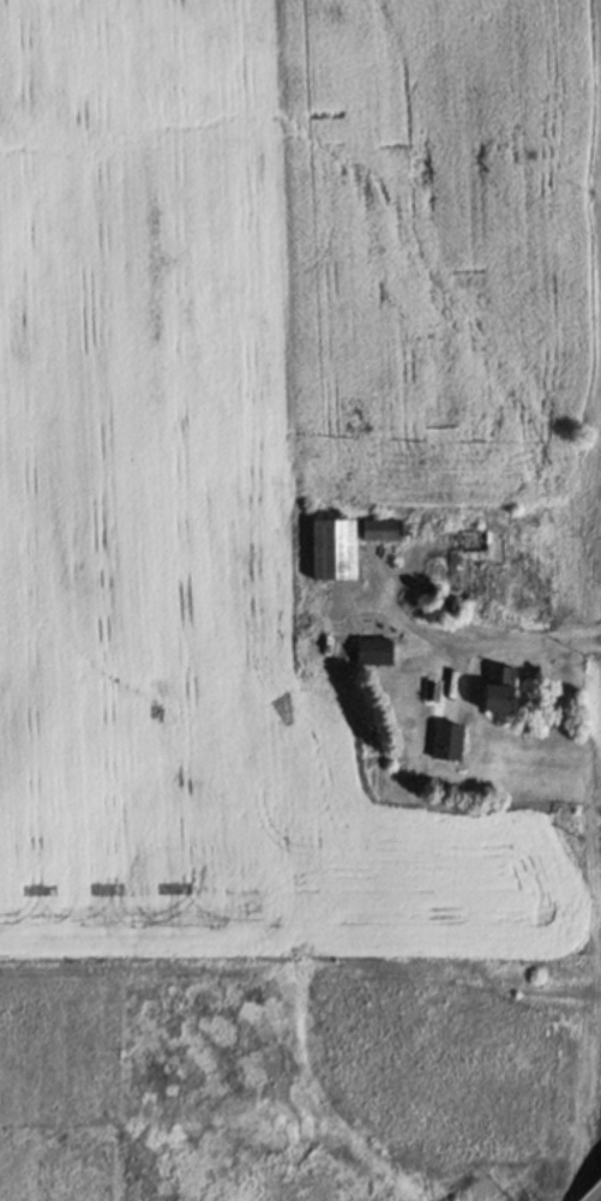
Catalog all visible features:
building: (381, 530)
building: (335, 551)
crop: (260, 562)
building: (469, 566)
road: (486, 642)
building: (374, 651)
building: (501, 689)
building: (449, 741)

